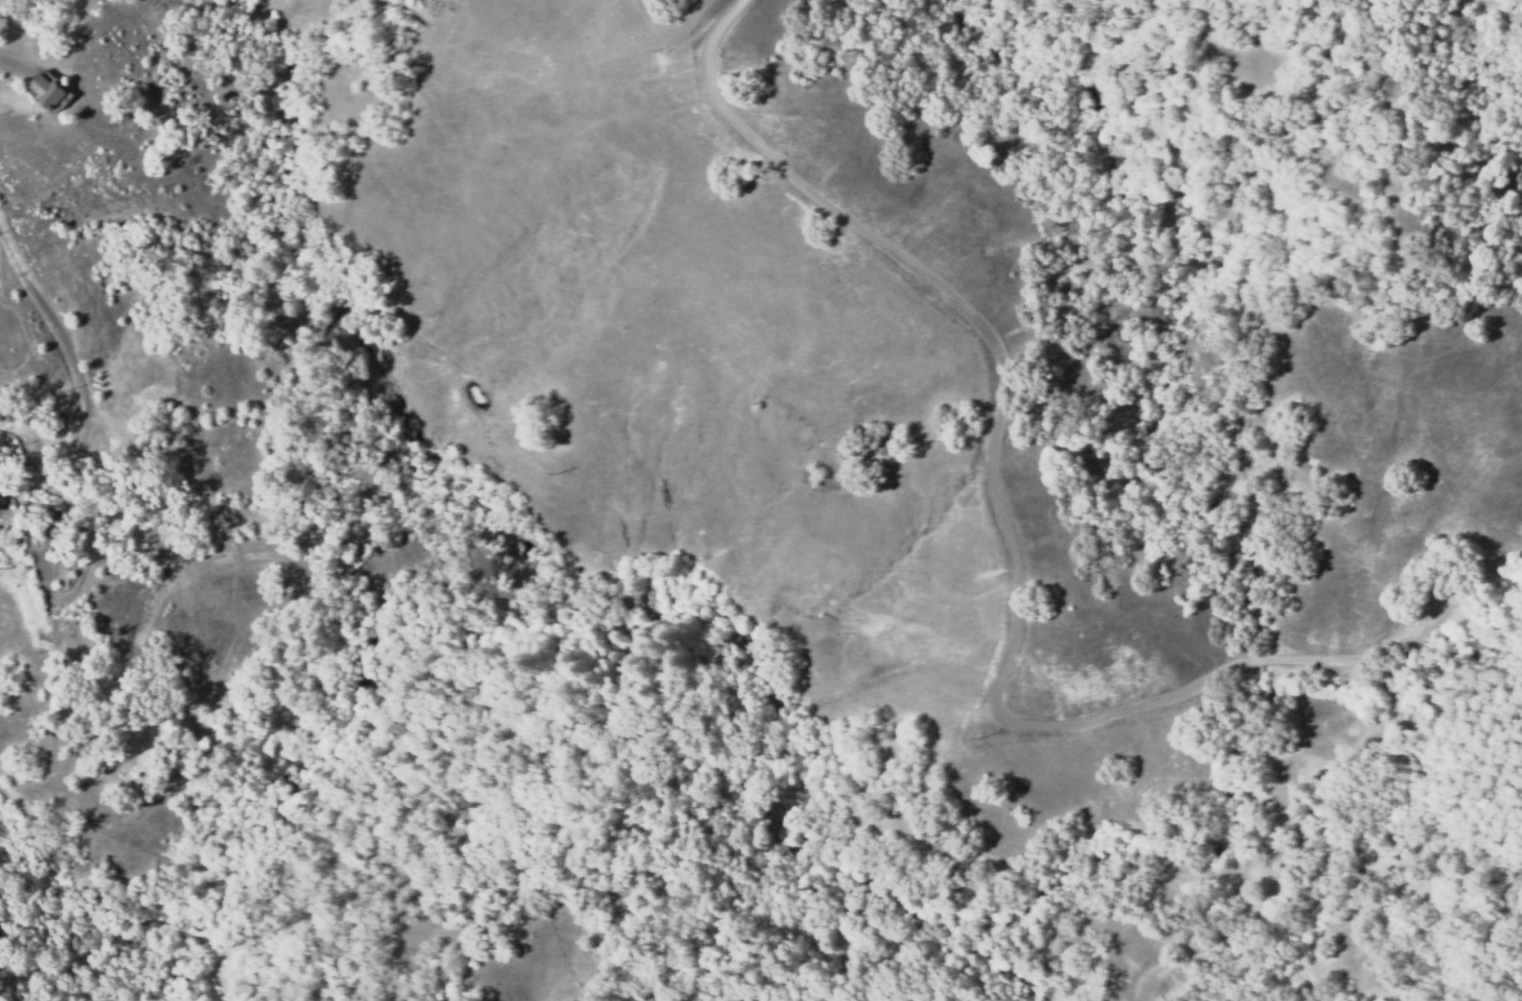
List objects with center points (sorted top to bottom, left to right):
building: (51, 91)
road: (85, 417)
road: (1001, 485)
building: (2, 497)
building: (49, 523)
building: (0, 534)
road: (1318, 762)

